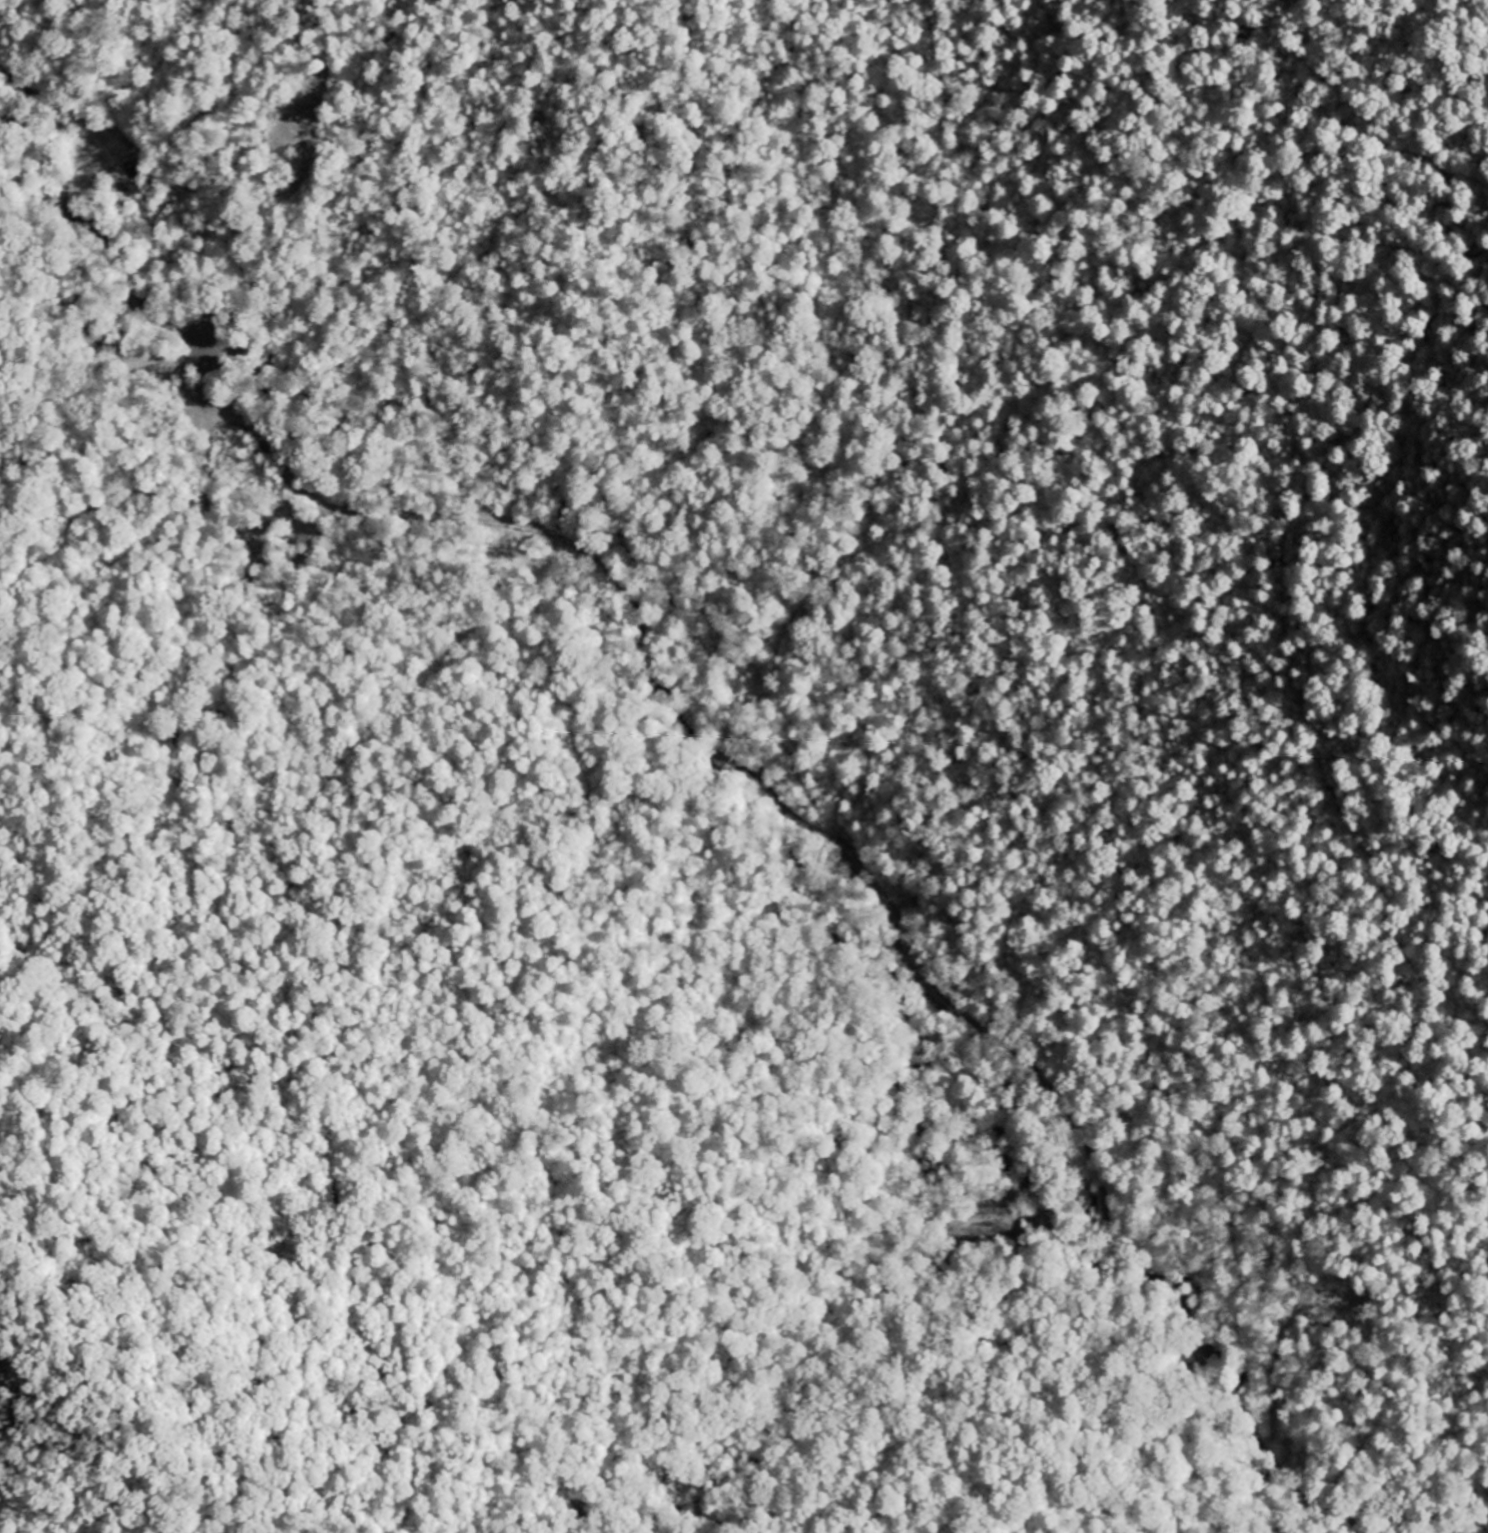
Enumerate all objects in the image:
road: (179, 291)
road: (922, 973)
road: (318, 1020)

